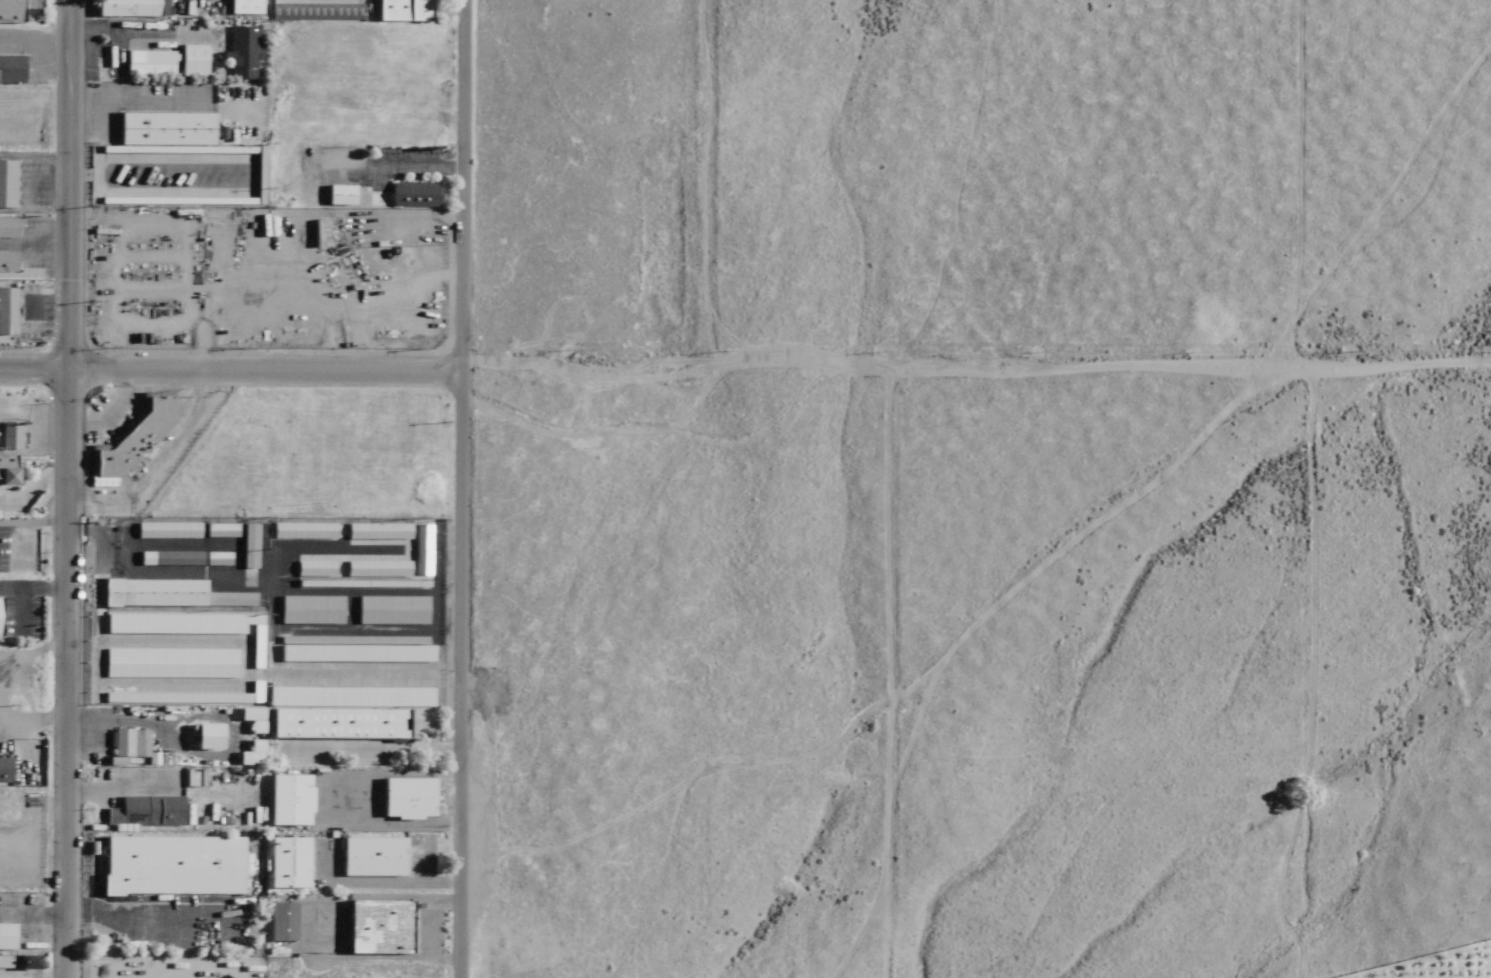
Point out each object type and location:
building: (126, 8)
building: (401, 10)
building: (10, 11)
building: (314, 11)
road: (36, 42)
building: (242, 51)
building: (191, 60)
building: (148, 63)
building: (10, 69)
road: (140, 99)
building: (164, 128)
road: (710, 181)
building: (7, 184)
building: (338, 194)
building: (413, 194)
building: (6, 228)
road: (35, 243)
building: (7, 262)
building: (6, 311)
road: (593, 360)
road: (1106, 366)
road: (233, 370)
road: (109, 411)
building: (8, 435)
building: (132, 438)
road: (156, 458)
building: (5, 469)
road: (32, 484)
road: (69, 489)
road: (463, 489)
road: (1312, 489)
road: (63, 521)
building: (164, 530)
building: (218, 530)
building: (301, 530)
building: (376, 530)
building: (246, 545)
building: (421, 549)
building: (168, 558)
building: (215, 558)
building: (314, 568)
building: (377, 568)
road: (33, 584)
building: (168, 594)
road: (19, 609)
building: (310, 609)
building: (391, 609)
building: (354, 648)
building: (377, 677)
building: (349, 696)
building: (335, 723)
building: (204, 736)
building: (128, 742)
building: (5, 769)
road: (122, 787)
building: (406, 798)
building: (287, 800)
building: (145, 811)
building: (371, 857)
building: (287, 863)
building: (170, 866)
road: (415, 881)
building: (281, 922)
building: (378, 927)
building: (6, 937)
building: (18, 962)

